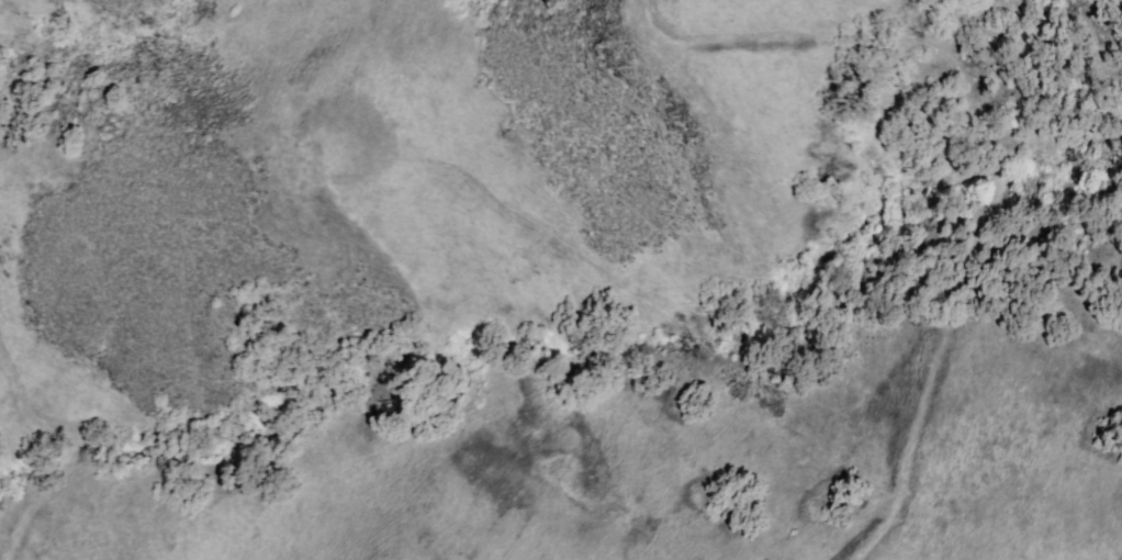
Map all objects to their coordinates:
road: (1045, 143)
road: (72, 447)

